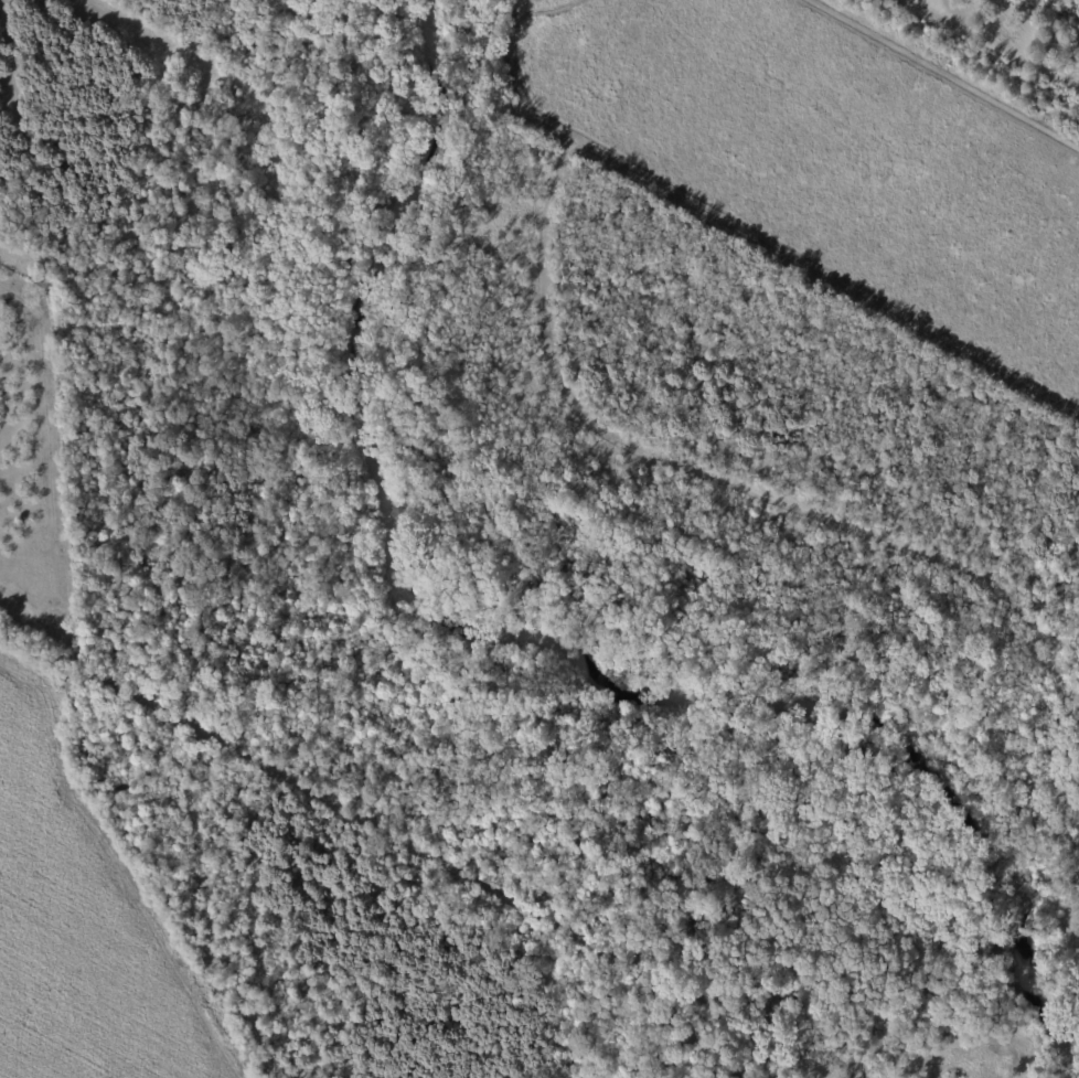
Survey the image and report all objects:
crop: (94, 928)

